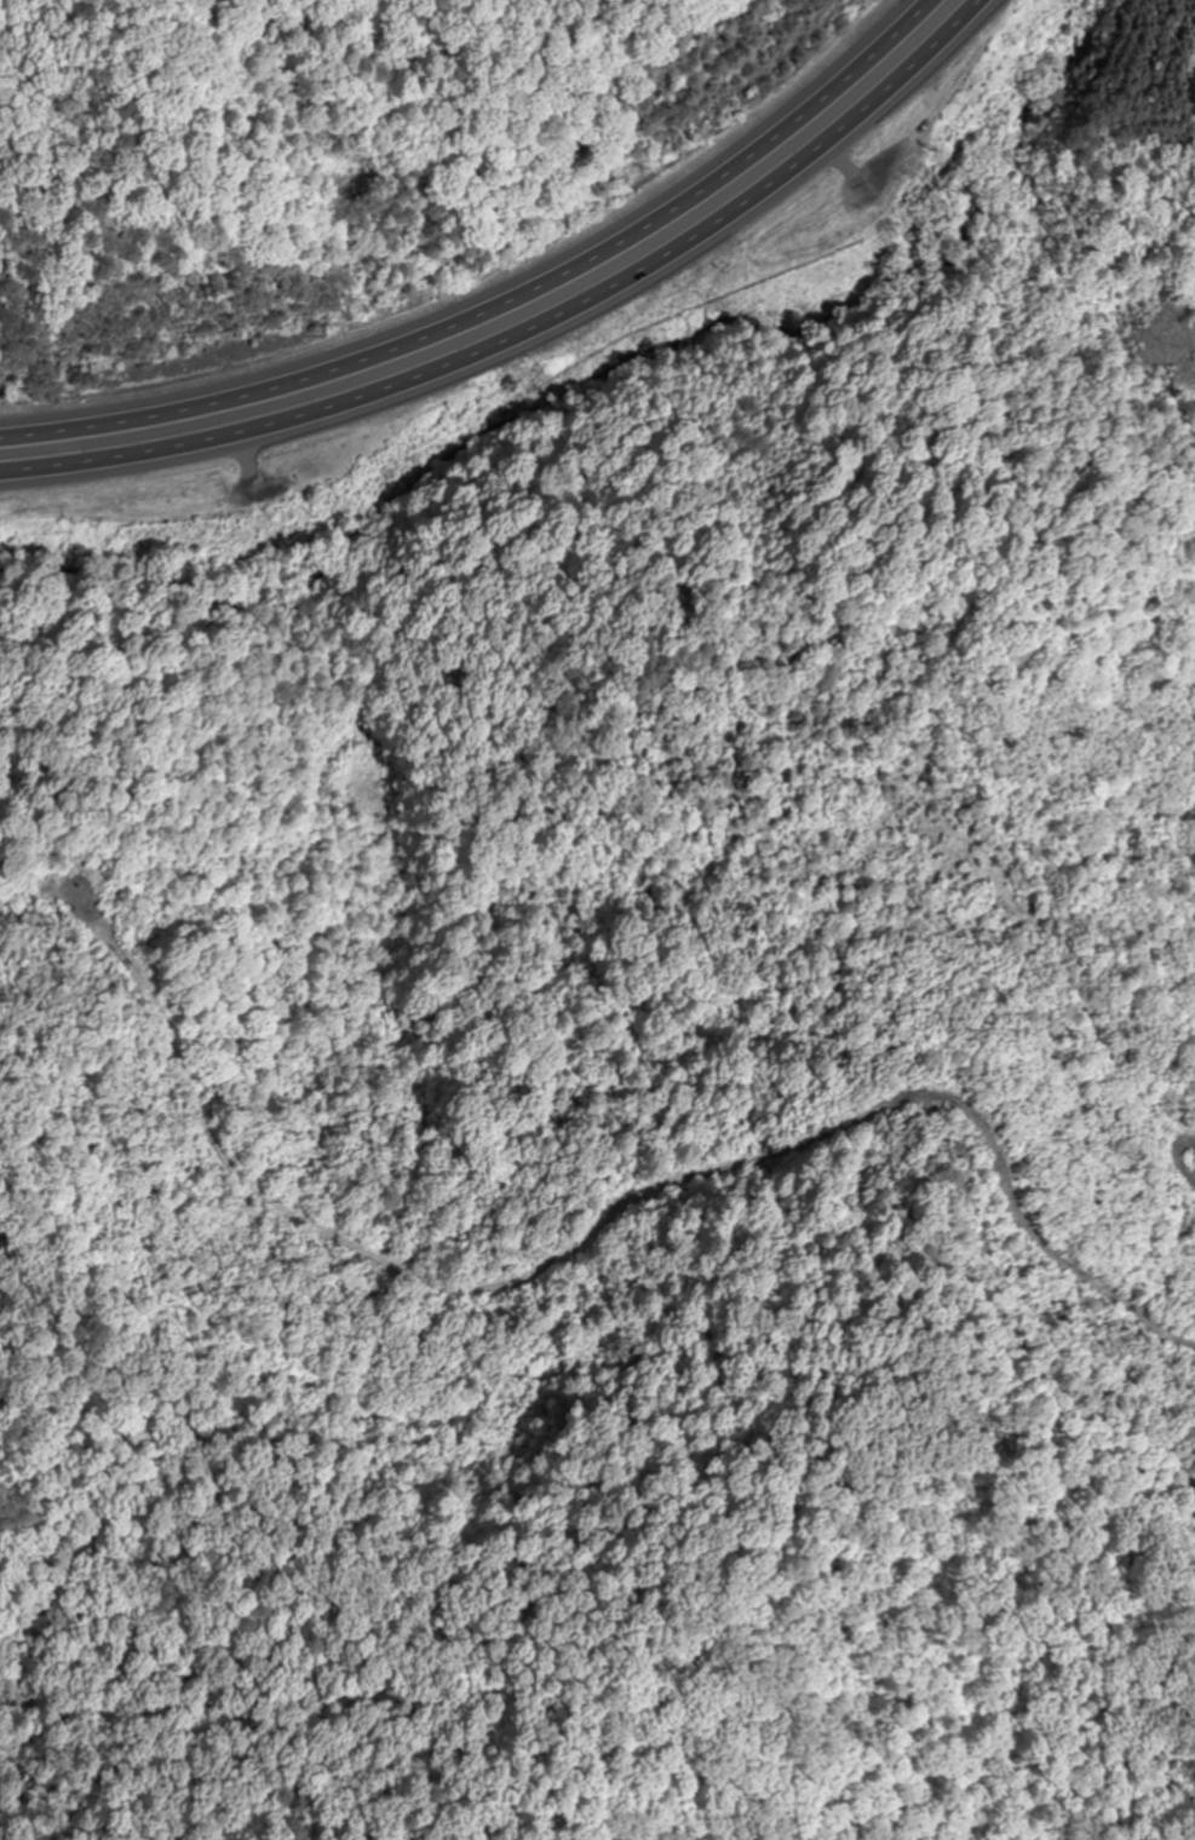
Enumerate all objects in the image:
road: (507, 304)
road: (536, 327)

